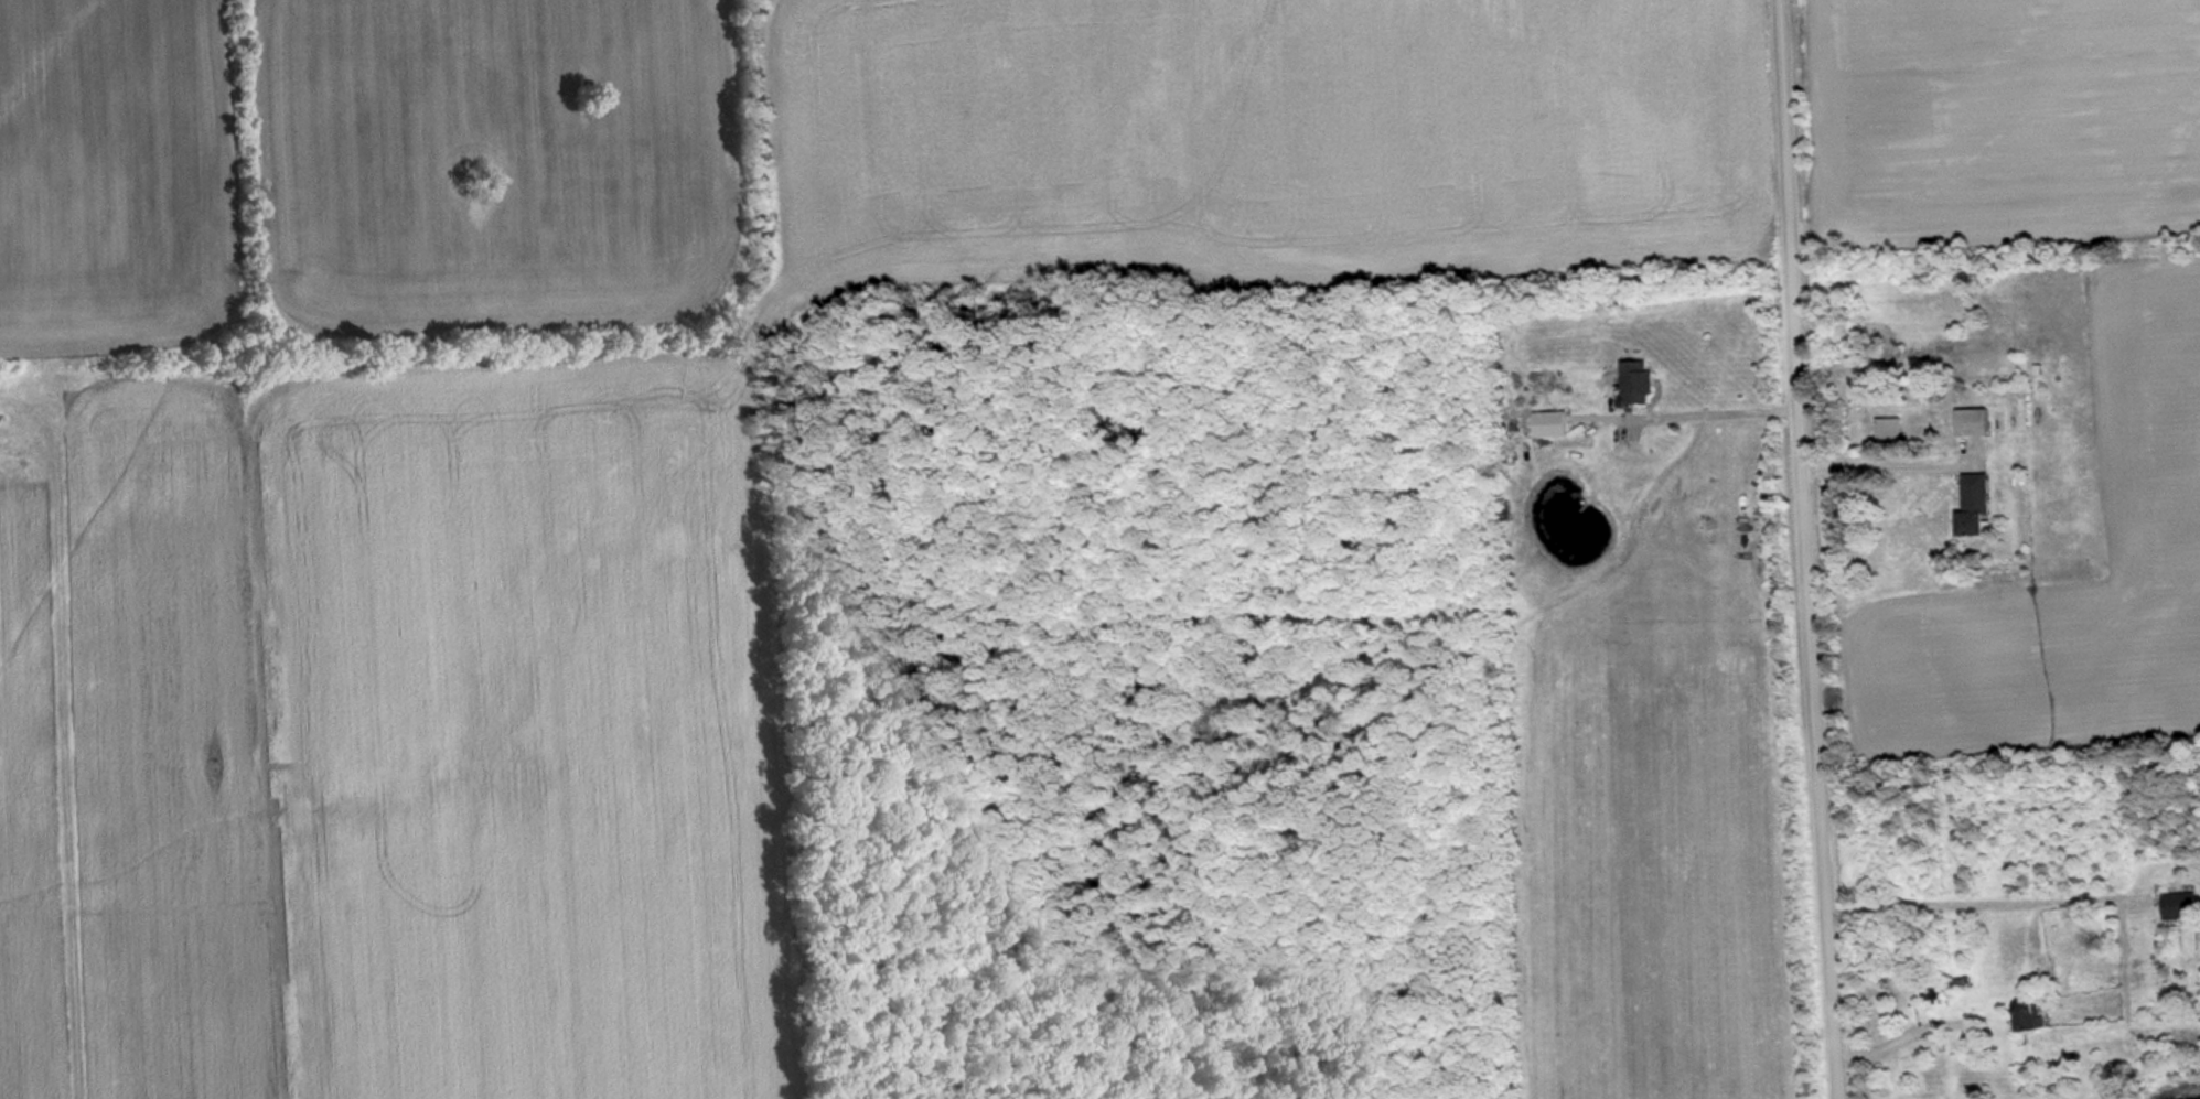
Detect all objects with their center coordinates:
building: (1644, 381)
building: (1978, 421)
building: (1556, 423)
building: (1896, 427)
building: (1981, 504)
road: (1803, 549)
building: (2183, 905)
building: (1935, 989)
building: (2036, 1015)

